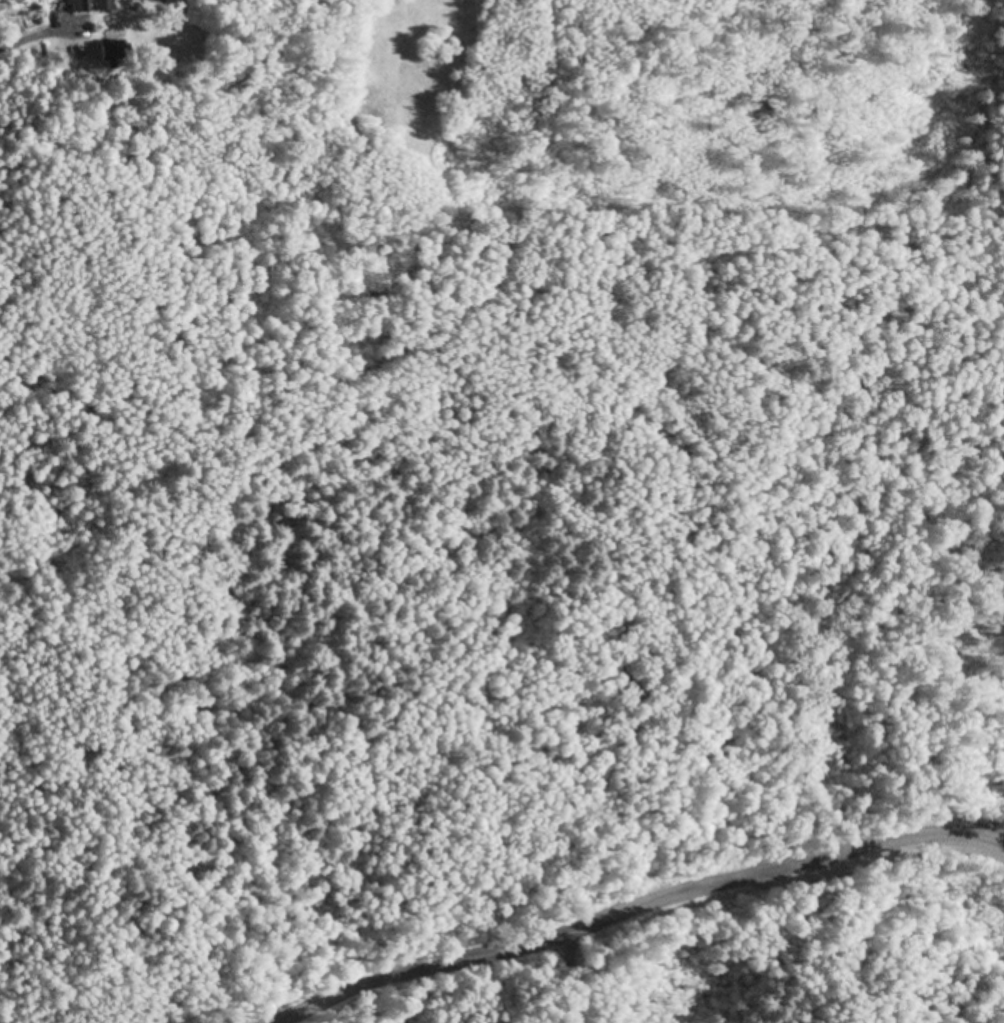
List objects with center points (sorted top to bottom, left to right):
building: (106, 5)
building: (115, 54)
road: (636, 903)

